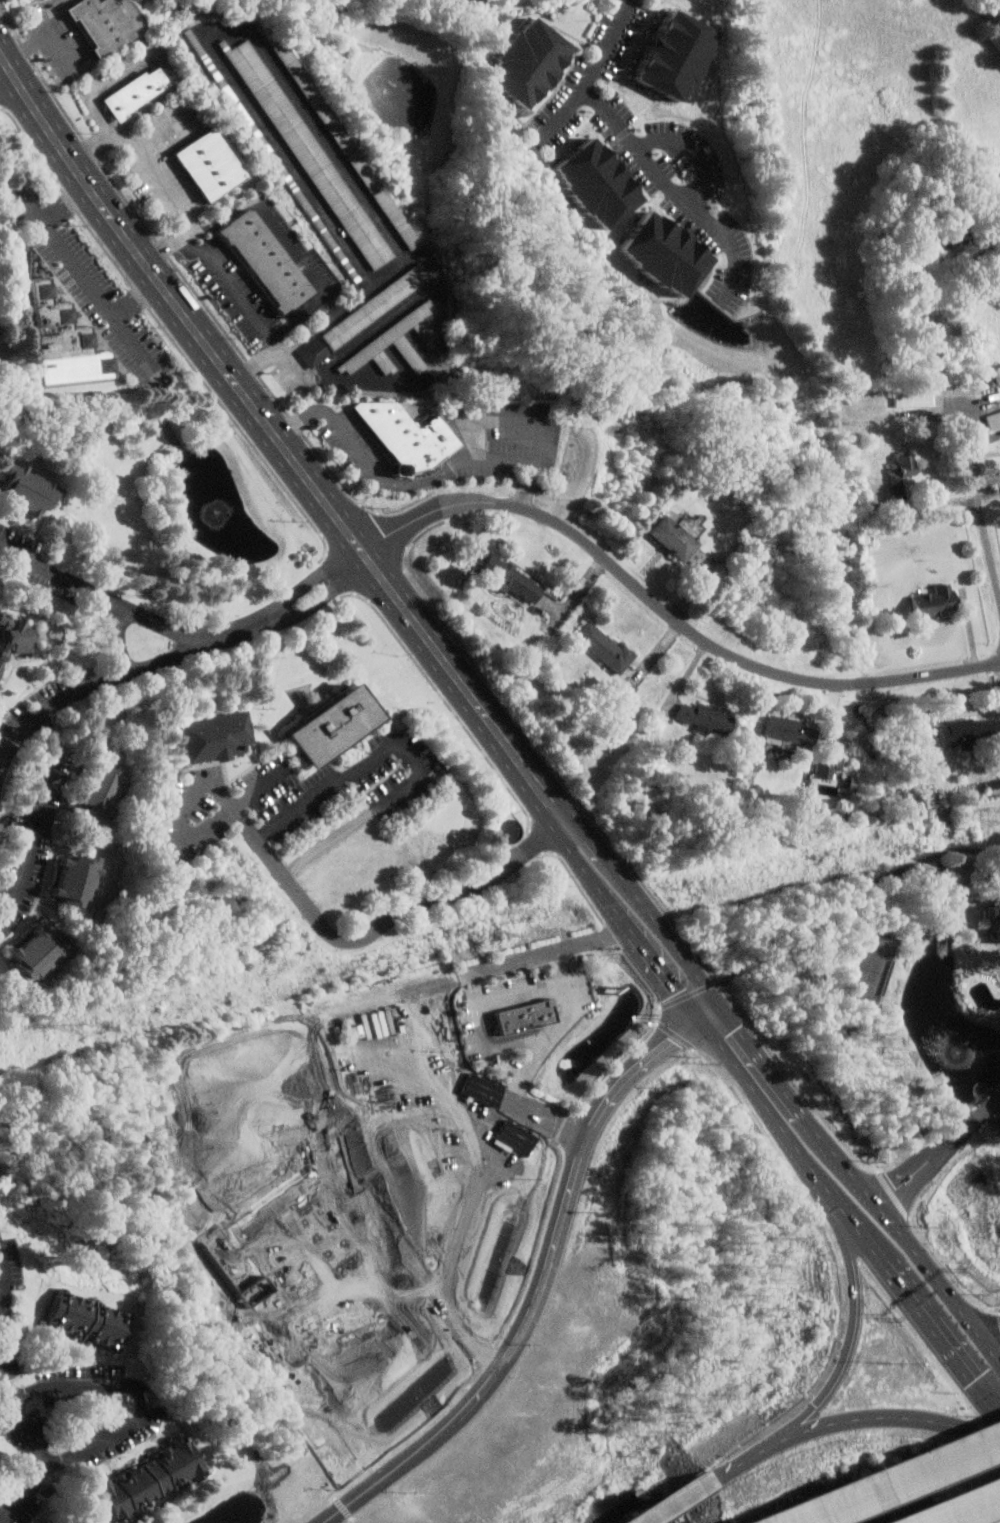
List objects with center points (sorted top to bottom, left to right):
building: (96, 25)
road: (63, 41)
road: (32, 45)
road: (157, 53)
building: (675, 55)
road: (3, 61)
building: (529, 62)
road: (594, 75)
building: (133, 92)
road: (164, 130)
building: (343, 145)
road: (698, 150)
building: (308, 153)
road: (145, 154)
building: (273, 155)
building: (205, 165)
building: (596, 184)
road: (676, 195)
road: (192, 236)
road: (293, 246)
building: (663, 254)
building: (264, 261)
road: (220, 266)
road: (83, 273)
road: (439, 282)
road: (136, 297)
building: (362, 315)
building: (64, 339)
building: (388, 340)
road: (277, 345)
building: (915, 392)
road: (512, 418)
building: (995, 419)
road: (277, 435)
building: (402, 437)
building: (903, 464)
road: (409, 480)
building: (21, 493)
road: (982, 498)
building: (682, 545)
building: (509, 577)
road: (313, 578)
road: (325, 595)
building: (936, 599)
road: (667, 610)
road: (132, 612)
building: (15, 635)
building: (605, 646)
road: (84, 686)
building: (706, 717)
building: (326, 723)
building: (968, 730)
building: (790, 732)
building: (215, 736)
road: (410, 758)
building: (828, 765)
building: (98, 790)
road: (236, 806)
road: (36, 815)
power tower: (999, 815)
road: (605, 869)
building: (77, 882)
road: (843, 908)
road: (382, 920)
building: (994, 921)
power tower: (493, 933)
building: (38, 953)
road: (679, 966)
park: (872, 967)
road: (479, 1005)
traffic signals: (712, 1010)
building: (527, 1015)
power tower: (96, 1025)
road: (557, 1029)
road: (639, 1063)
road: (771, 1066)
building: (262, 1118)
road: (783, 1131)
road: (939, 1150)
road: (569, 1191)
building: (466, 1240)
road: (913, 1244)
road: (532, 1307)
building: (90, 1319)
building: (338, 1332)
road: (934, 1334)
road: (994, 1341)
road: (848, 1345)
traffic signals: (972, 1385)
road: (144, 1389)
road: (18, 1403)
road: (471, 1403)
road: (874, 1416)
road: (723, 1470)
building: (151, 1478)
road: (895, 1480)
road: (374, 1481)
road: (666, 1505)
road: (964, 1508)

